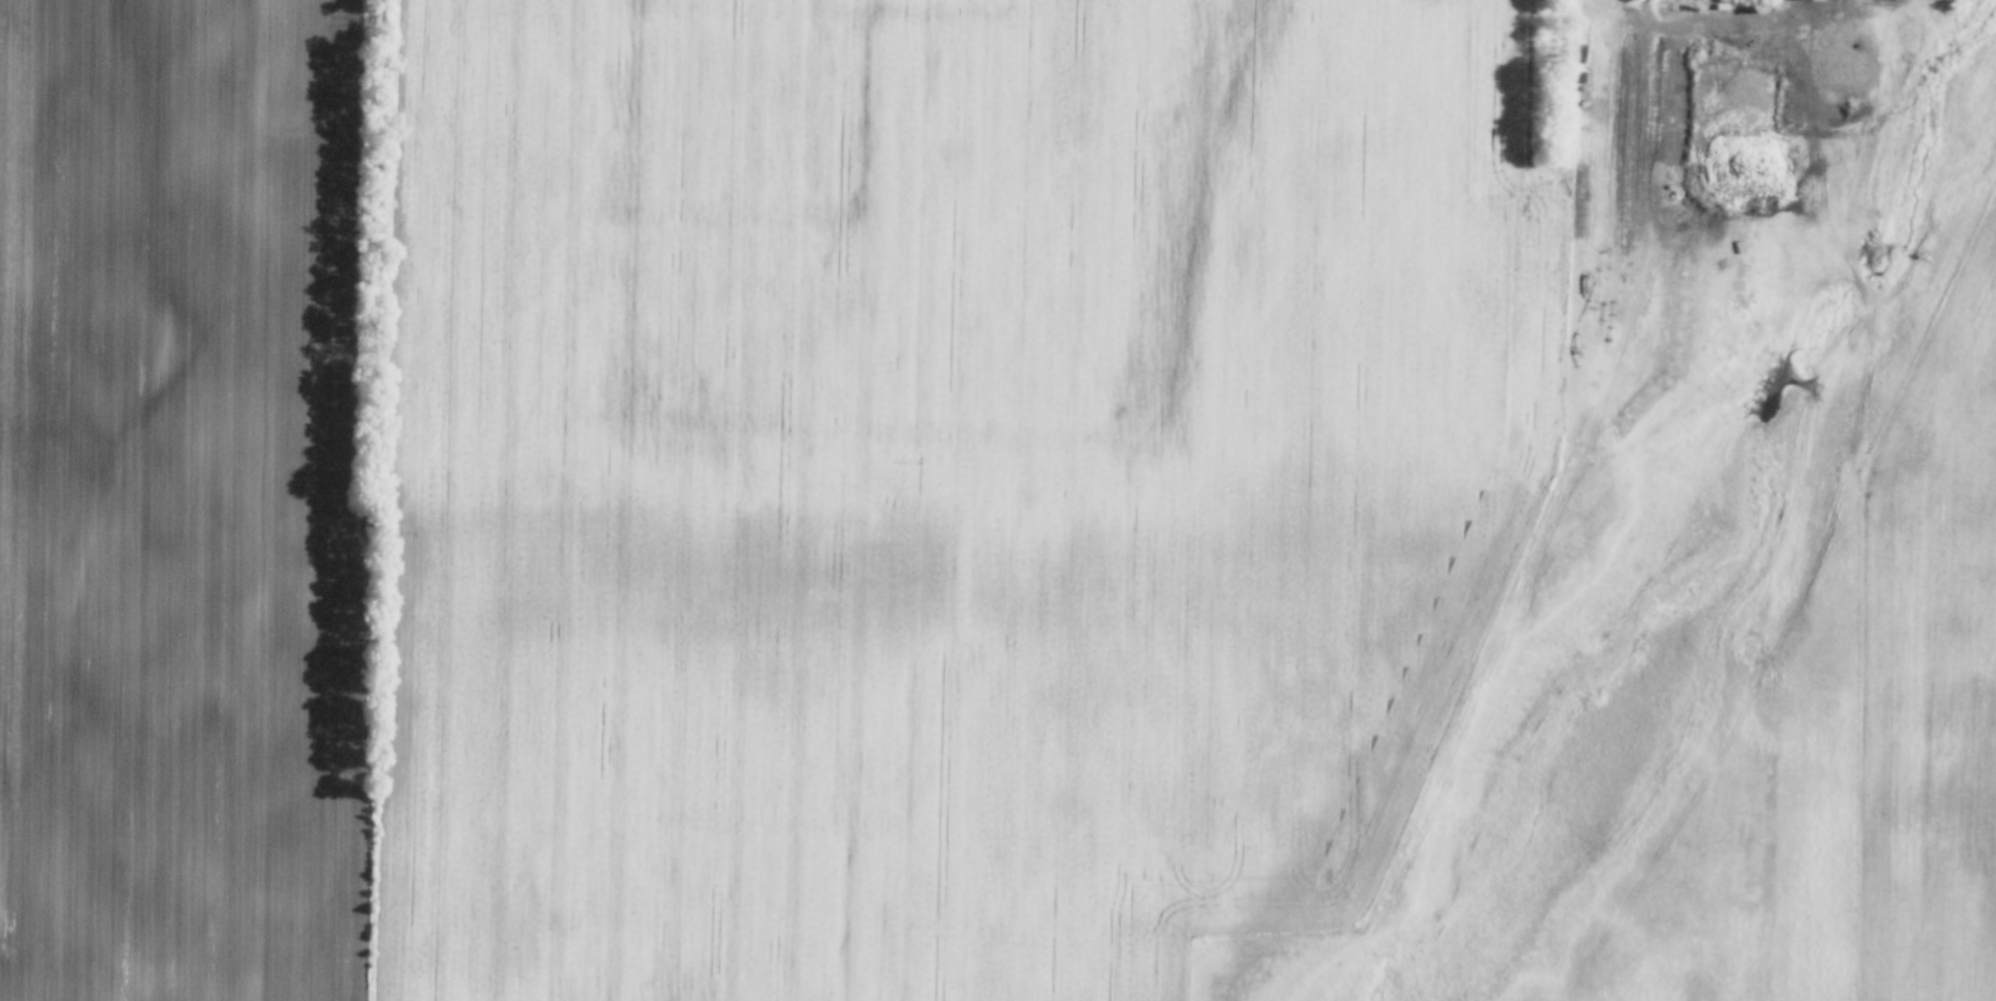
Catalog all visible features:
building: (1812, 0)
building: (1583, 148)

